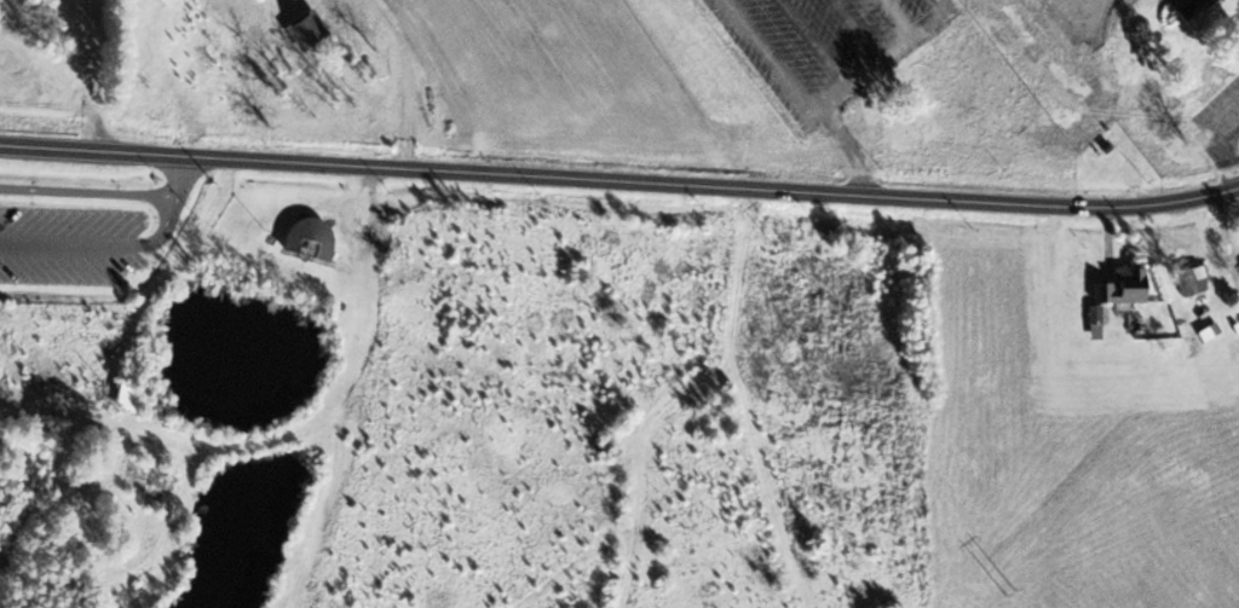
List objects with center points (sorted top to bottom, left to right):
building: (161, 0)
building: (1191, 7)
road: (820, 109)
road: (1222, 143)
road: (854, 147)
road: (619, 178)
road: (87, 193)
road: (168, 219)
building: (311, 238)
road: (56, 241)
parking lot: (62, 243)
power tower: (783, 248)
building: (1189, 282)
building: (1124, 286)
building: (129, 394)
power tower: (1012, 591)

